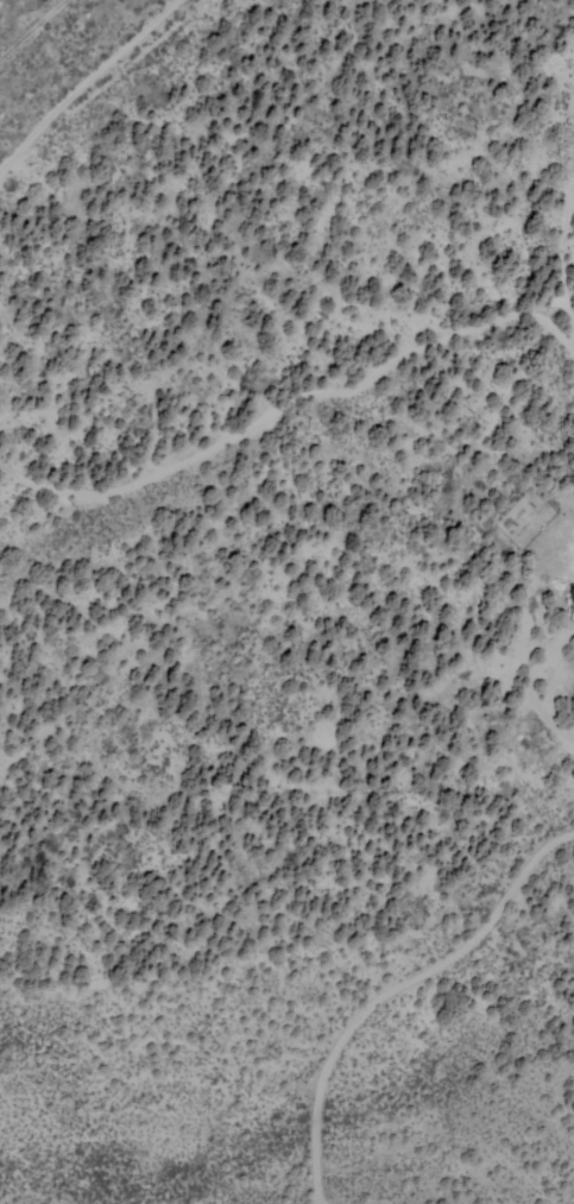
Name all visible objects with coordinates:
road: (56, 46)
building: (572, 600)

